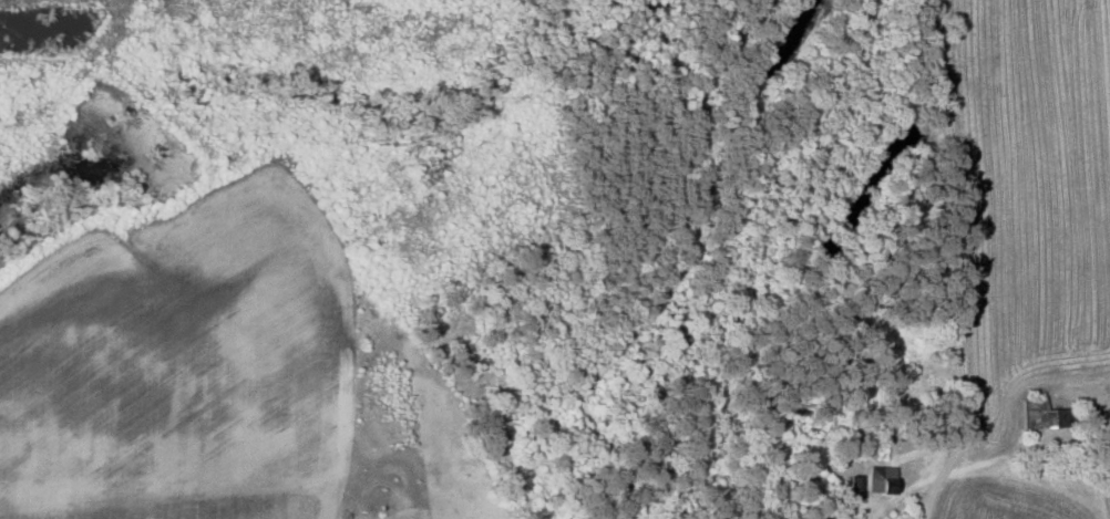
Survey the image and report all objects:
road: (950, 236)
road: (1022, 450)
building: (876, 477)
road: (928, 492)

